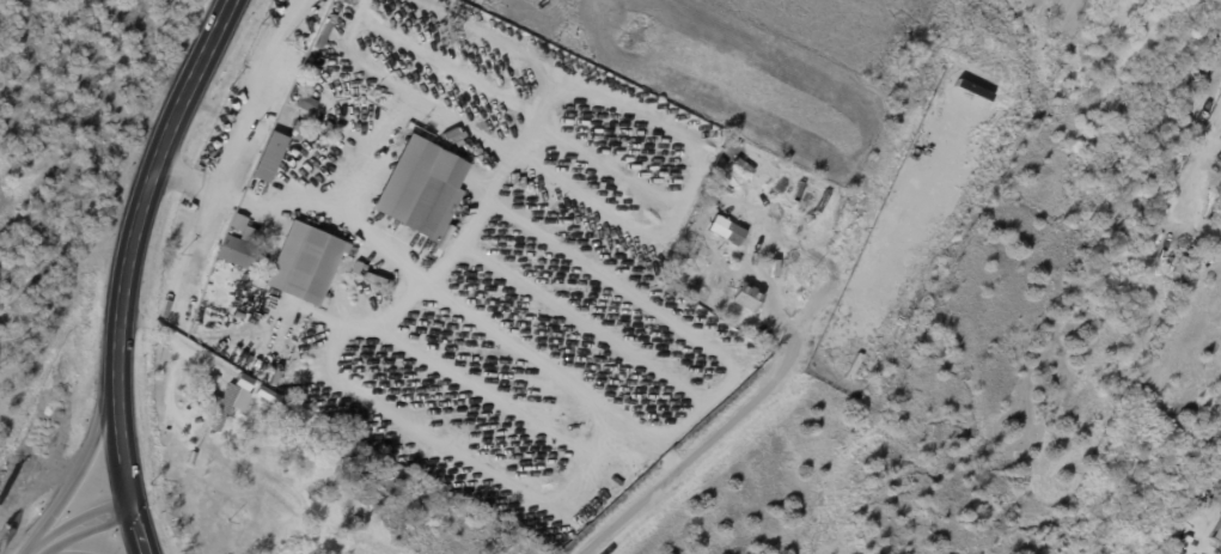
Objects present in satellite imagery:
building: (344, 20)
building: (328, 49)
building: (367, 69)
building: (396, 71)
building: (447, 75)
building: (922, 78)
building: (365, 79)
building: (289, 116)
building: (298, 116)
building: (1161, 117)
building: (543, 134)
building: (1144, 138)
building: (267, 157)
building: (582, 169)
building: (1208, 173)
building: (1144, 177)
road: (146, 188)
road: (213, 189)
building: (419, 190)
building: (627, 196)
building: (1125, 219)
building: (242, 229)
building: (726, 232)
building: (237, 254)
building: (304, 260)
building: (362, 270)
building: (254, 285)
building: (744, 298)
road: (176, 347)
building: (273, 396)
building: (226, 406)
building: (286, 406)
building: (355, 444)
road: (701, 448)
road: (121, 449)
building: (190, 458)
building: (359, 468)
road: (79, 475)
road: (99, 517)
road: (138, 531)
building: (1176, 534)
building: (1215, 534)
road: (51, 541)

